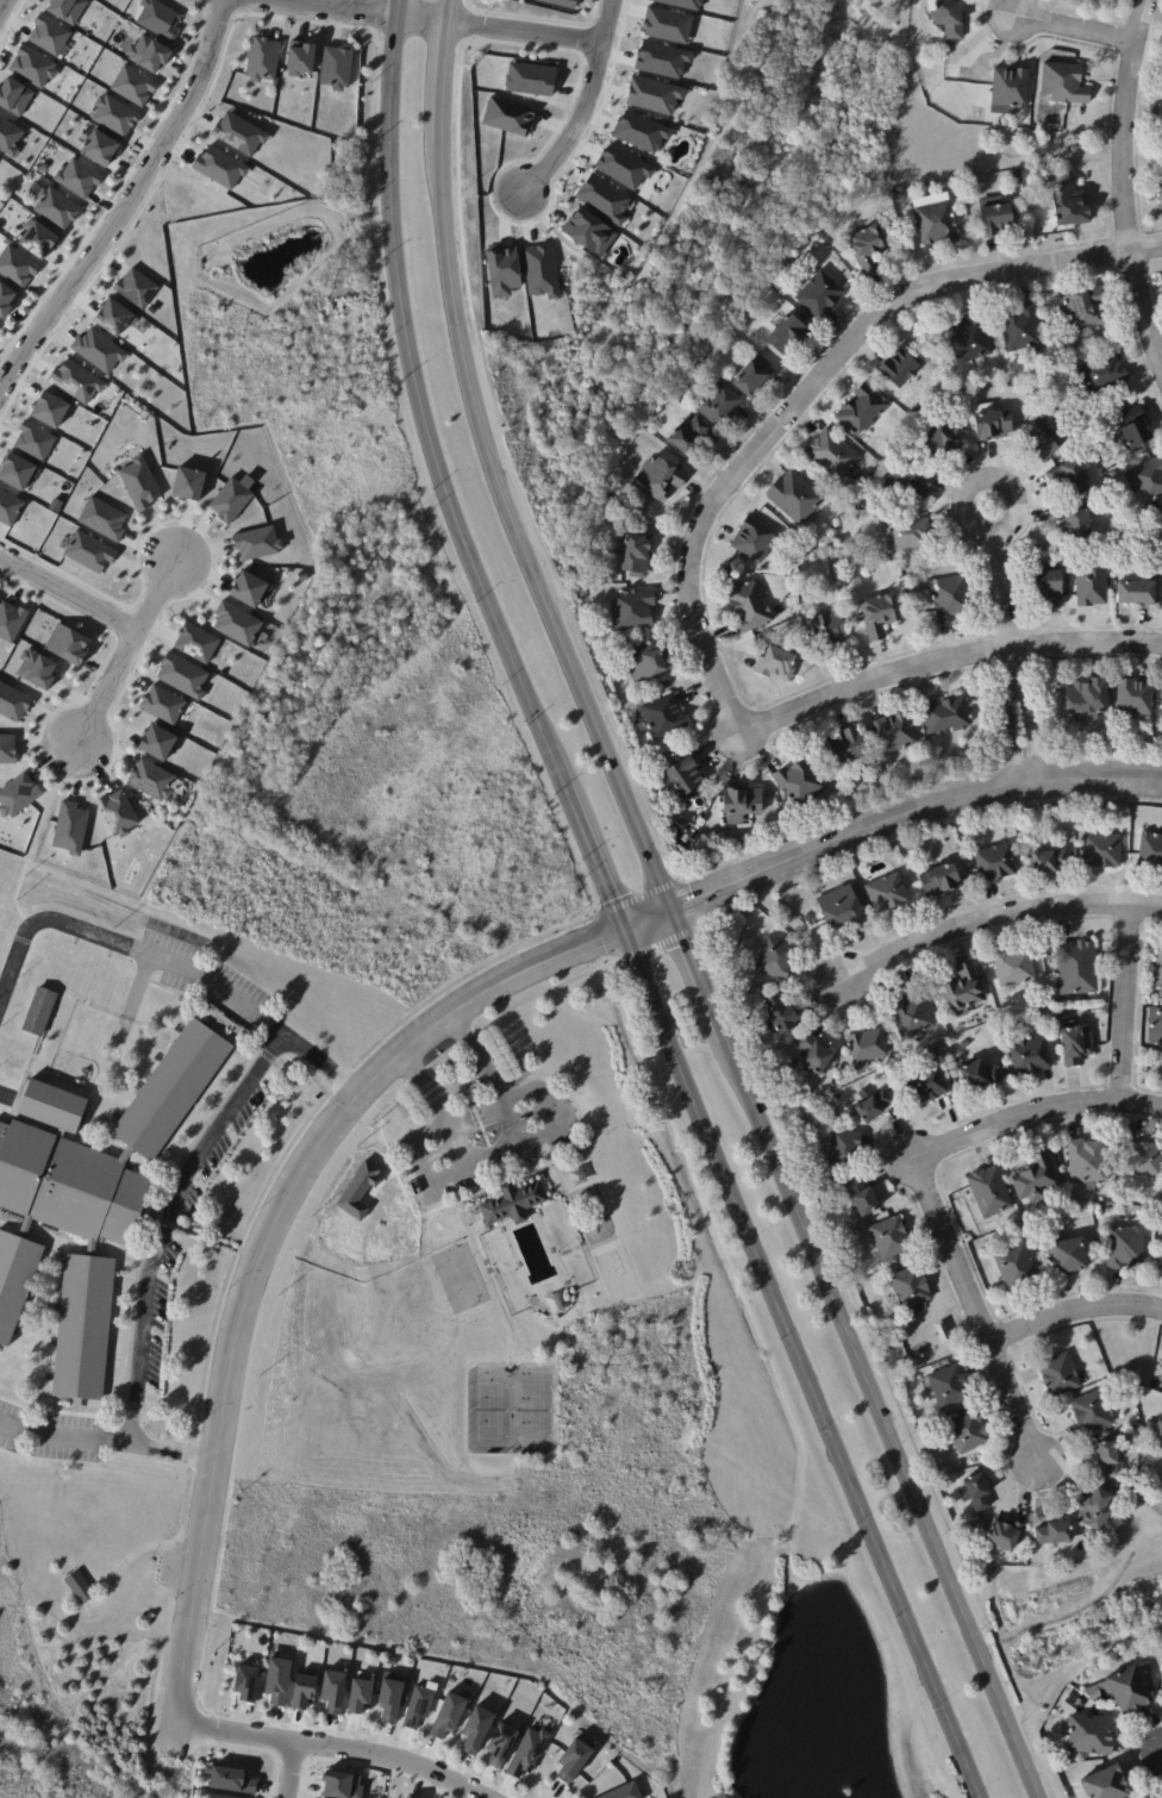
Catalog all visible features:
road: (1, 2)
building: (564, 2)
building: (685, 2)
building: (67, 10)
building: (948, 19)
building: (157, 20)
road: (430, 21)
building: (668, 24)
road: (1070, 26)
building: (49, 35)
building: (148, 54)
building: (662, 58)
building: (261, 60)
building: (300, 60)
building: (31, 65)
building: (336, 67)
building: (531, 79)
building: (1064, 85)
building: (132, 86)
building: (1008, 92)
building: (654, 94)
building: (14, 95)
road: (585, 104)
building: (113, 114)
building: (508, 116)
building: (1161, 116)
building: (641, 131)
building: (238, 133)
building: (8, 137)
building: (99, 148)
building: (1079, 148)
building: (623, 166)
building: (218, 167)
building: (77, 177)
building: (1017, 179)
road: (1125, 183)
building: (1161, 192)
building: (899, 196)
building: (604, 199)
road: (125, 202)
building: (55, 207)
building: (1070, 207)
road: (673, 210)
building: (994, 219)
building: (935, 220)
building: (588, 231)
building: (37, 238)
building: (868, 250)
building: (17, 267)
building: (502, 269)
building: (541, 271)
building: (777, 285)
building: (135, 287)
building: (820, 293)
building: (5, 299)
building: (1081, 312)
building: (113, 317)
building: (1019, 331)
building: (787, 333)
building: (969, 341)
building: (98, 350)
building: (899, 370)
building: (752, 376)
building: (1102, 376)
building: (75, 381)
building: (718, 402)
building: (50, 408)
building: (861, 412)
building: (917, 412)
building: (991, 424)
building: (1133, 430)
building: (687, 436)
building: (33, 441)
building: (1043, 442)
building: (939, 443)
building: (832, 456)
road: (999, 469)
building: (15, 470)
building: (657, 477)
building: (1070, 479)
building: (1147, 481)
building: (138, 482)
building: (188, 483)
building: (907, 486)
road: (725, 492)
building: (838, 494)
building: (231, 498)
building: (794, 499)
building: (55, 504)
building: (8, 507)
building: (844, 511)
building: (102, 519)
building: (1161, 519)
building: (1161, 522)
building: (1074, 525)
building: (1157, 535)
building: (907, 536)
building: (256, 542)
building: (754, 542)
building: (88, 551)
building: (635, 555)
building: (302, 575)
building: (1049, 587)
building: (1091, 587)
building: (248, 588)
road: (69, 589)
road: (1005, 591)
building: (1137, 594)
building: (582, 595)
building: (952, 600)
building: (749, 607)
building: (631, 610)
building: (879, 617)
building: (11, 620)
building: (235, 623)
building: (829, 635)
building: (194, 641)
road: (1086, 641)
building: (67, 644)
road: (124, 653)
building: (646, 662)
building: (36, 668)
building: (775, 668)
building: (181, 674)
building: (1135, 700)
building: (13, 701)
building: (1087, 701)
building: (161, 704)
building: (1161, 708)
road: (1032, 711)
road: (1004, 716)
building: (663, 717)
building: (947, 717)
building: (895, 736)
building: (155, 741)
building: (7, 748)
building: (844, 749)
building: (149, 779)
building: (682, 780)
building: (799, 786)
building: (18, 794)
building: (741, 806)
building: (115, 812)
road: (885, 822)
building: (70, 828)
road: (33, 838)
building: (958, 849)
building: (1098, 851)
building: (1148, 853)
building: (1048, 861)
building: (994, 863)
building: (939, 882)
building: (887, 894)
building: (839, 909)
road: (676, 912)
road: (617, 913)
road: (991, 917)
building: (807, 918)
building: (776, 959)
road: (167, 966)
building: (1014, 967)
building: (1076, 969)
building: (1160, 970)
parking lot: (204, 976)
building: (963, 993)
road: (1126, 1001)
road: (127, 1009)
building: (38, 1011)
building: (1060, 1012)
building: (781, 1016)
building: (911, 1016)
building: (1076, 1045)
building: (868, 1050)
building: (813, 1056)
building: (895, 1057)
building: (1030, 1059)
building: (1161, 1065)
building: (774, 1072)
building: (979, 1078)
building: (926, 1086)
building: (165, 1093)
road: (5, 1099)
road: (468, 1099)
building: (46, 1109)
building: (871, 1109)
road: (1035, 1113)
road: (386, 1144)
road: (495, 1147)
parking lot: (218, 1151)
building: (844, 1151)
building: (1143, 1160)
road: (549, 1162)
building: (1087, 1163)
building: (1036, 1179)
building: (64, 1187)
building: (358, 1190)
road: (405, 1191)
building: (989, 1193)
building: (862, 1199)
building: (512, 1201)
road: (463, 1219)
road: (162, 1225)
building: (889, 1240)
building: (1125, 1248)
road: (571, 1249)
road: (256, 1254)
building: (1069, 1259)
building: (1161, 1267)
building: (1016, 1269)
park: (458, 1278)
building: (12, 1279)
road: (491, 1288)
building: (911, 1290)
building: (918, 1310)
road: (975, 1310)
road: (958, 1311)
parking lot: (157, 1318)
road: (932, 1322)
road: (1074, 1322)
road: (952, 1324)
building: (76, 1328)
building: (942, 1334)
road: (931, 1336)
building: (1058, 1376)
building: (949, 1387)
park: (508, 1410)
building: (1092, 1413)
building: (968, 1434)
parking lot: (48, 1436)
building: (1160, 1438)
road: (106, 1442)
building: (1108, 1461)
building: (1129, 1482)
building: (977, 1494)
building: (1094, 1513)
building: (1054, 1536)
building: (1005, 1538)
road: (174, 1542)
road: (152, 1546)
parking lot: (167, 1567)
building: (77, 1587)
park: (85, 1628)
road: (157, 1669)
building: (277, 1680)
building: (245, 1681)
building: (1161, 1682)
building: (331, 1690)
building: (1124, 1690)
building: (304, 1691)
building: (360, 1694)
building: (389, 1699)
building: (418, 1703)
building: (449, 1713)
building: (479, 1725)
building: (1091, 1734)
building: (501, 1744)
road: (331, 1752)
building: (527, 1753)
building: (575, 1759)
road: (283, 1772)
fountain: (836, 1774)
building: (230, 1779)
building: (343, 1785)
building: (1106, 1785)
building: (624, 1792)
building: (220, 1796)
building: (407, 1797)

